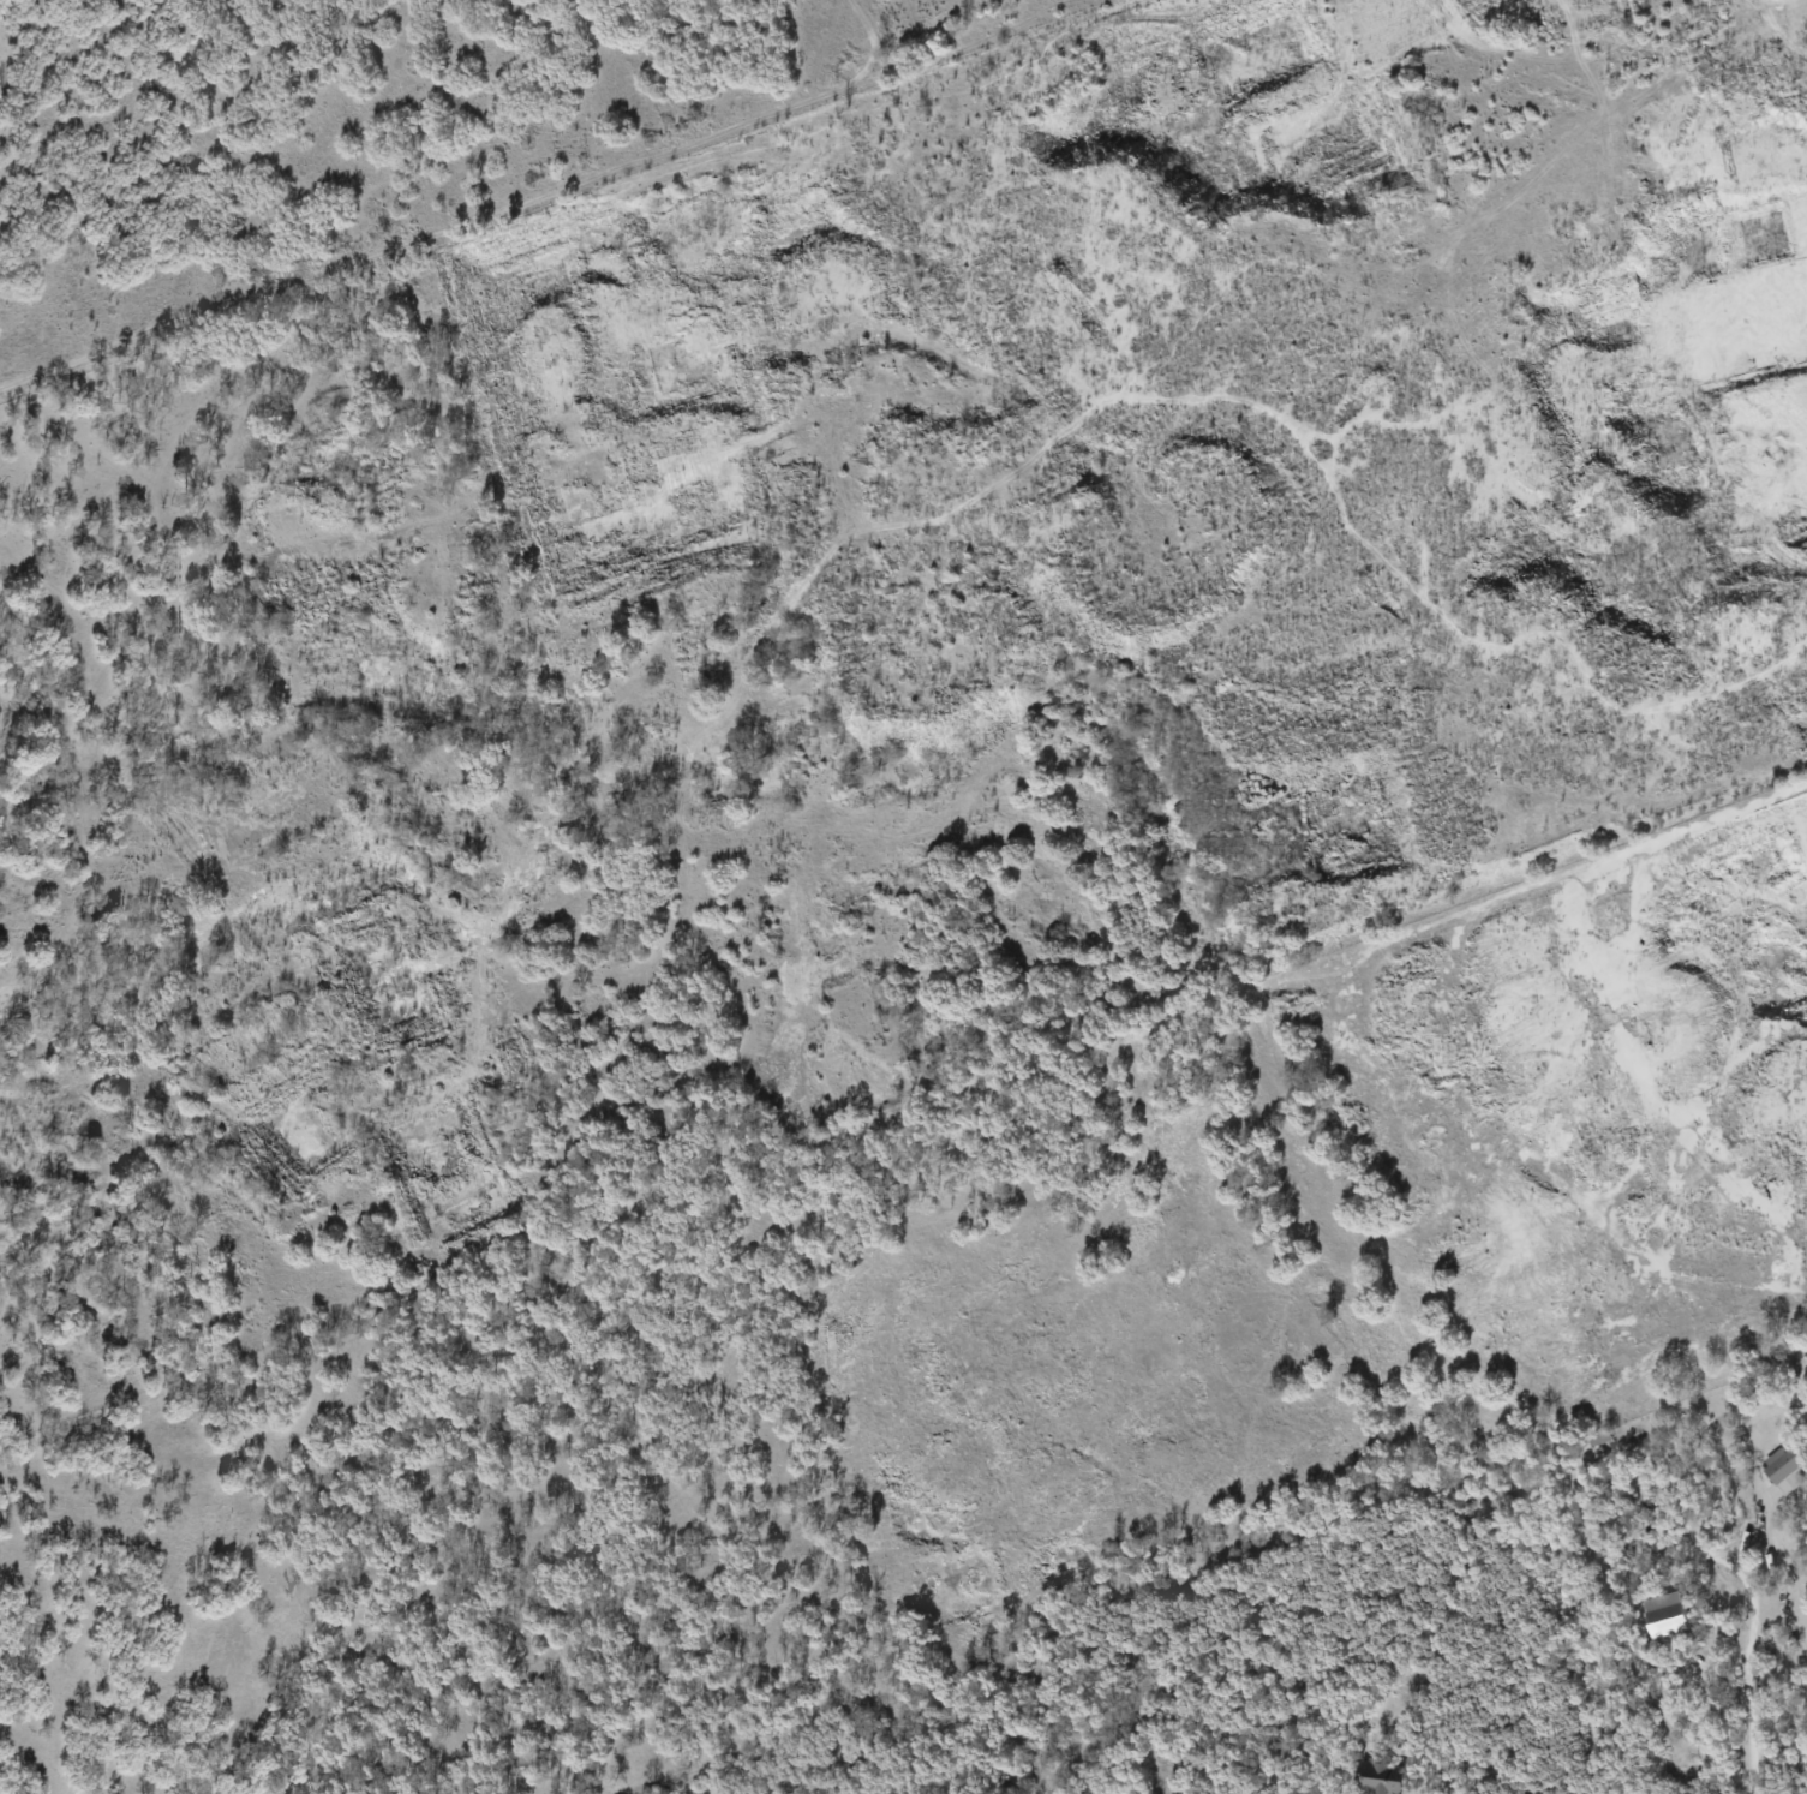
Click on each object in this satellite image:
building: (1598, 1436)
building: (1784, 1469)
road: (1785, 1559)
building: (1665, 1614)
road: (1747, 1714)
building: (1378, 1780)

